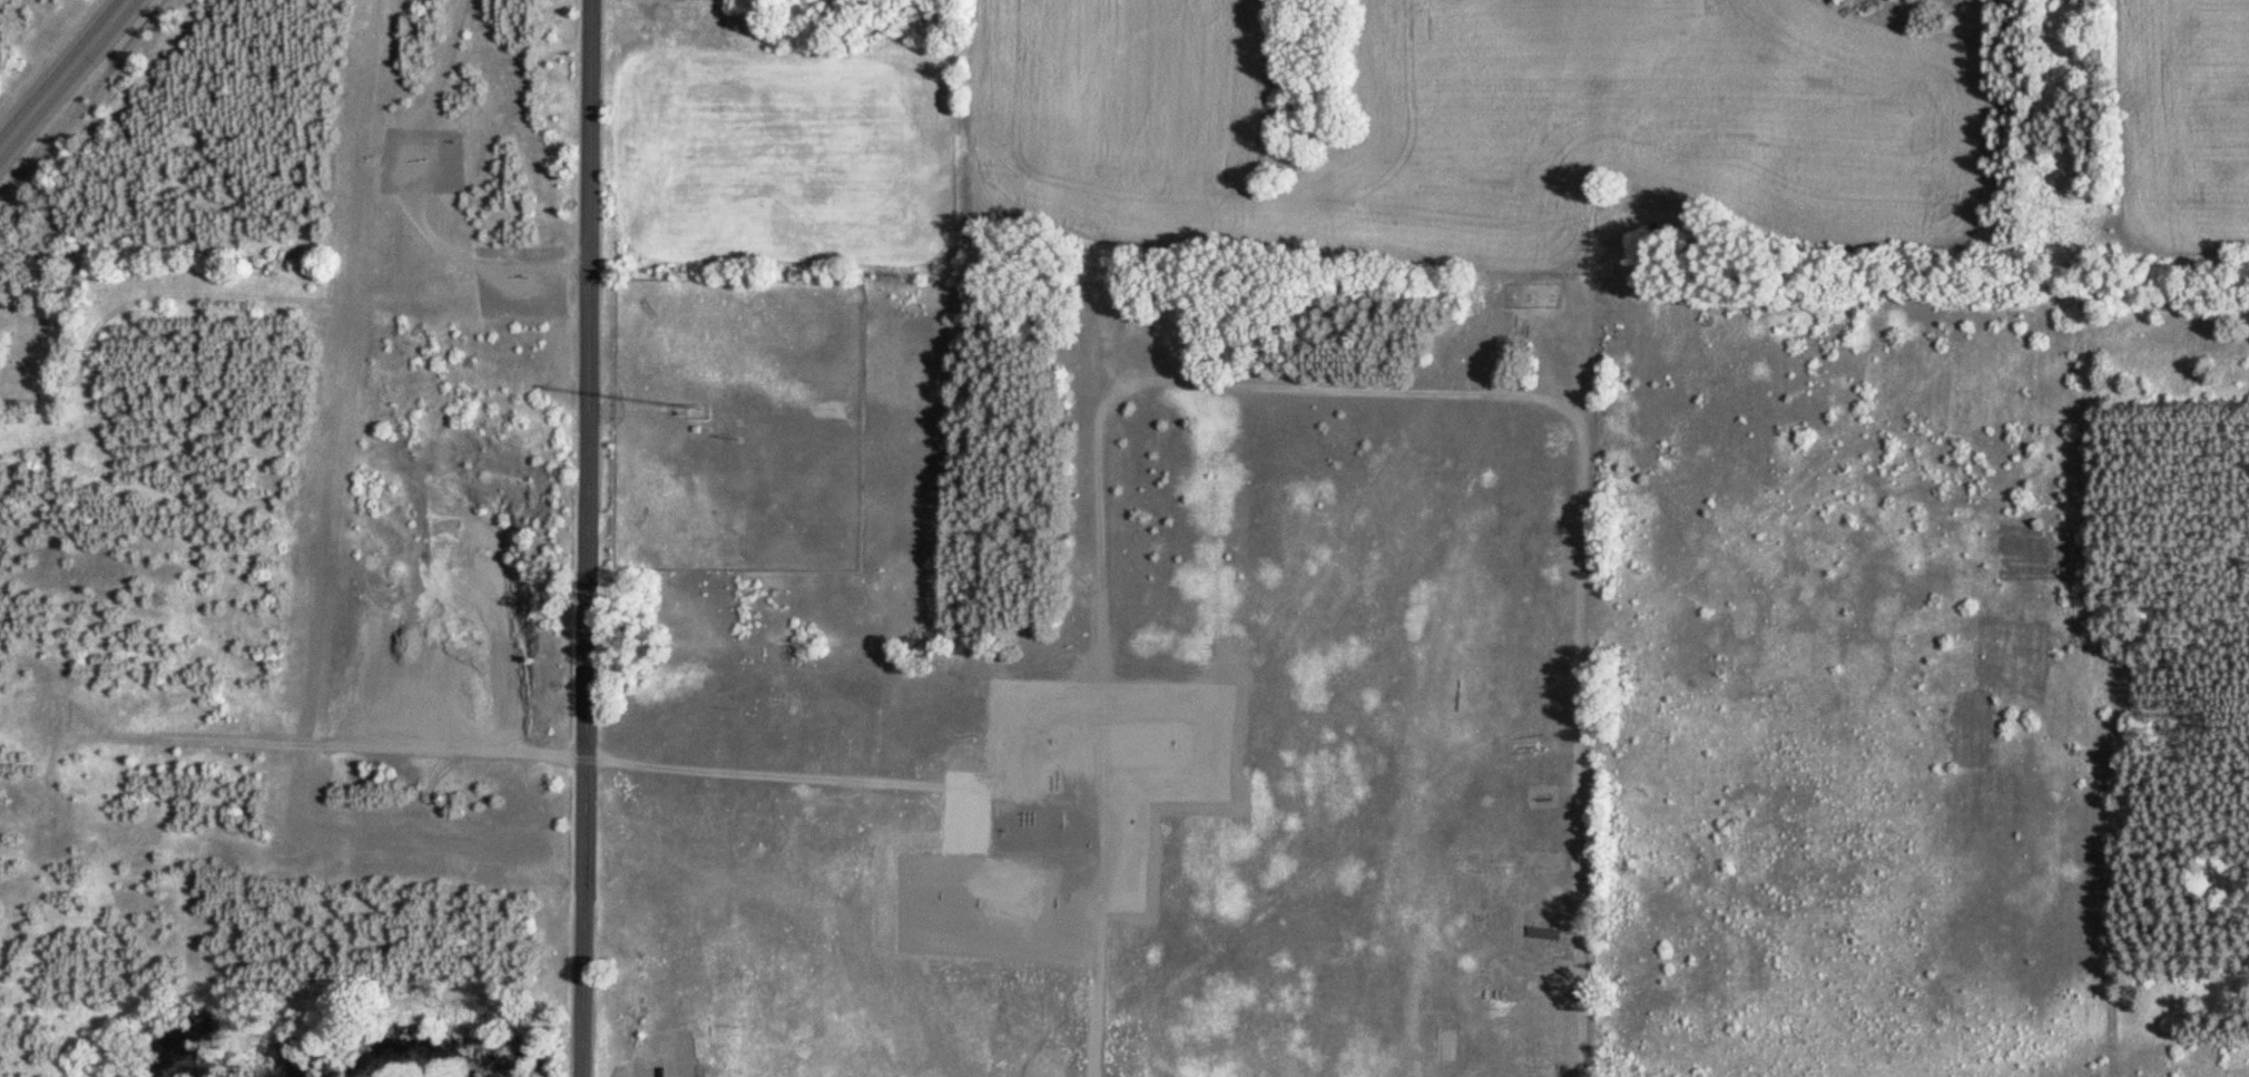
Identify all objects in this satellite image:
road: (62, 75)
road: (1328, 388)
road: (587, 538)
road: (345, 757)
road: (790, 776)
building: (1544, 932)

